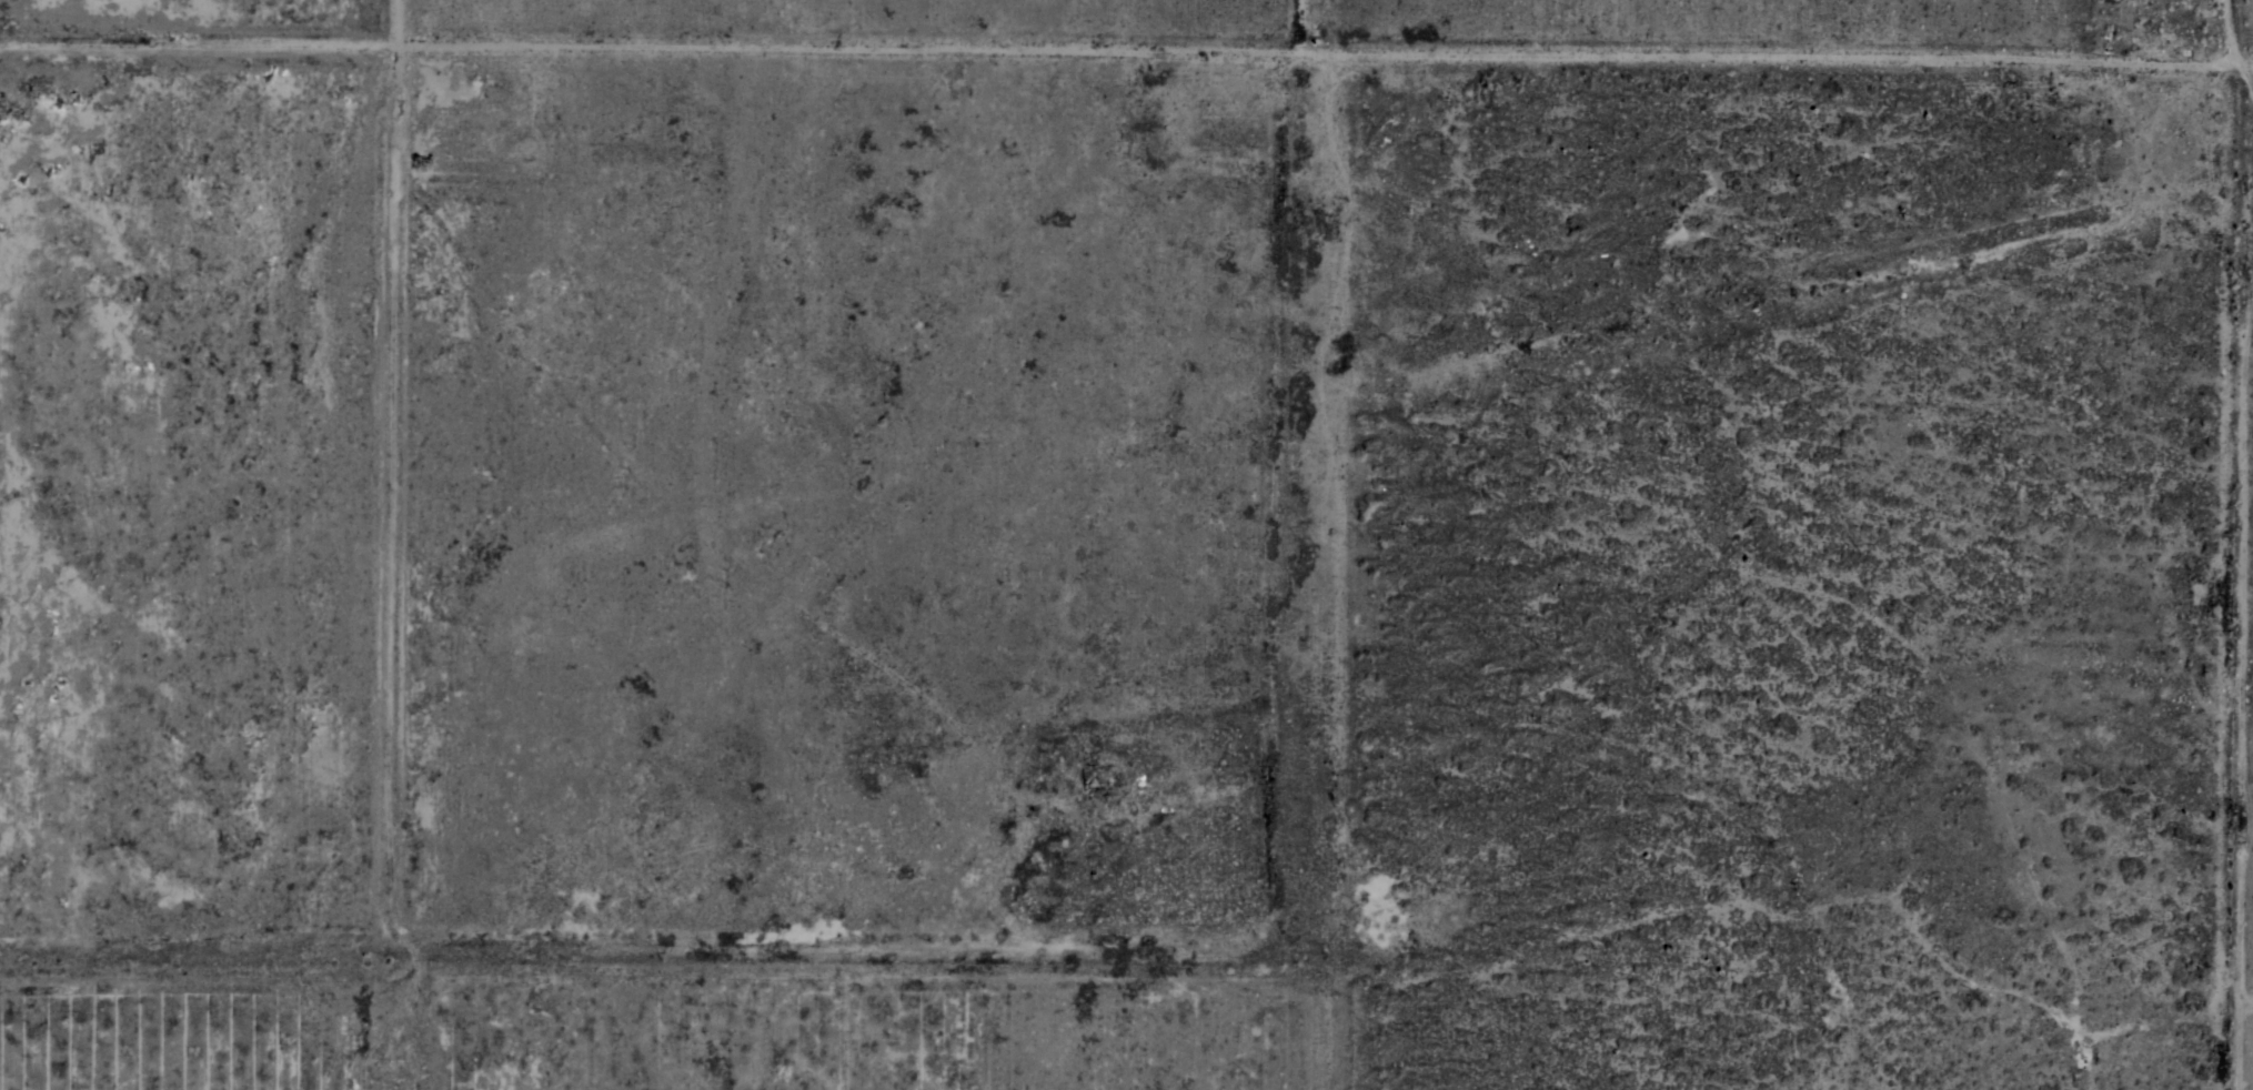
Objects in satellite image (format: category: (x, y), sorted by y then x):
road: (2251, 22)
road: (288, 499)
road: (2246, 544)

